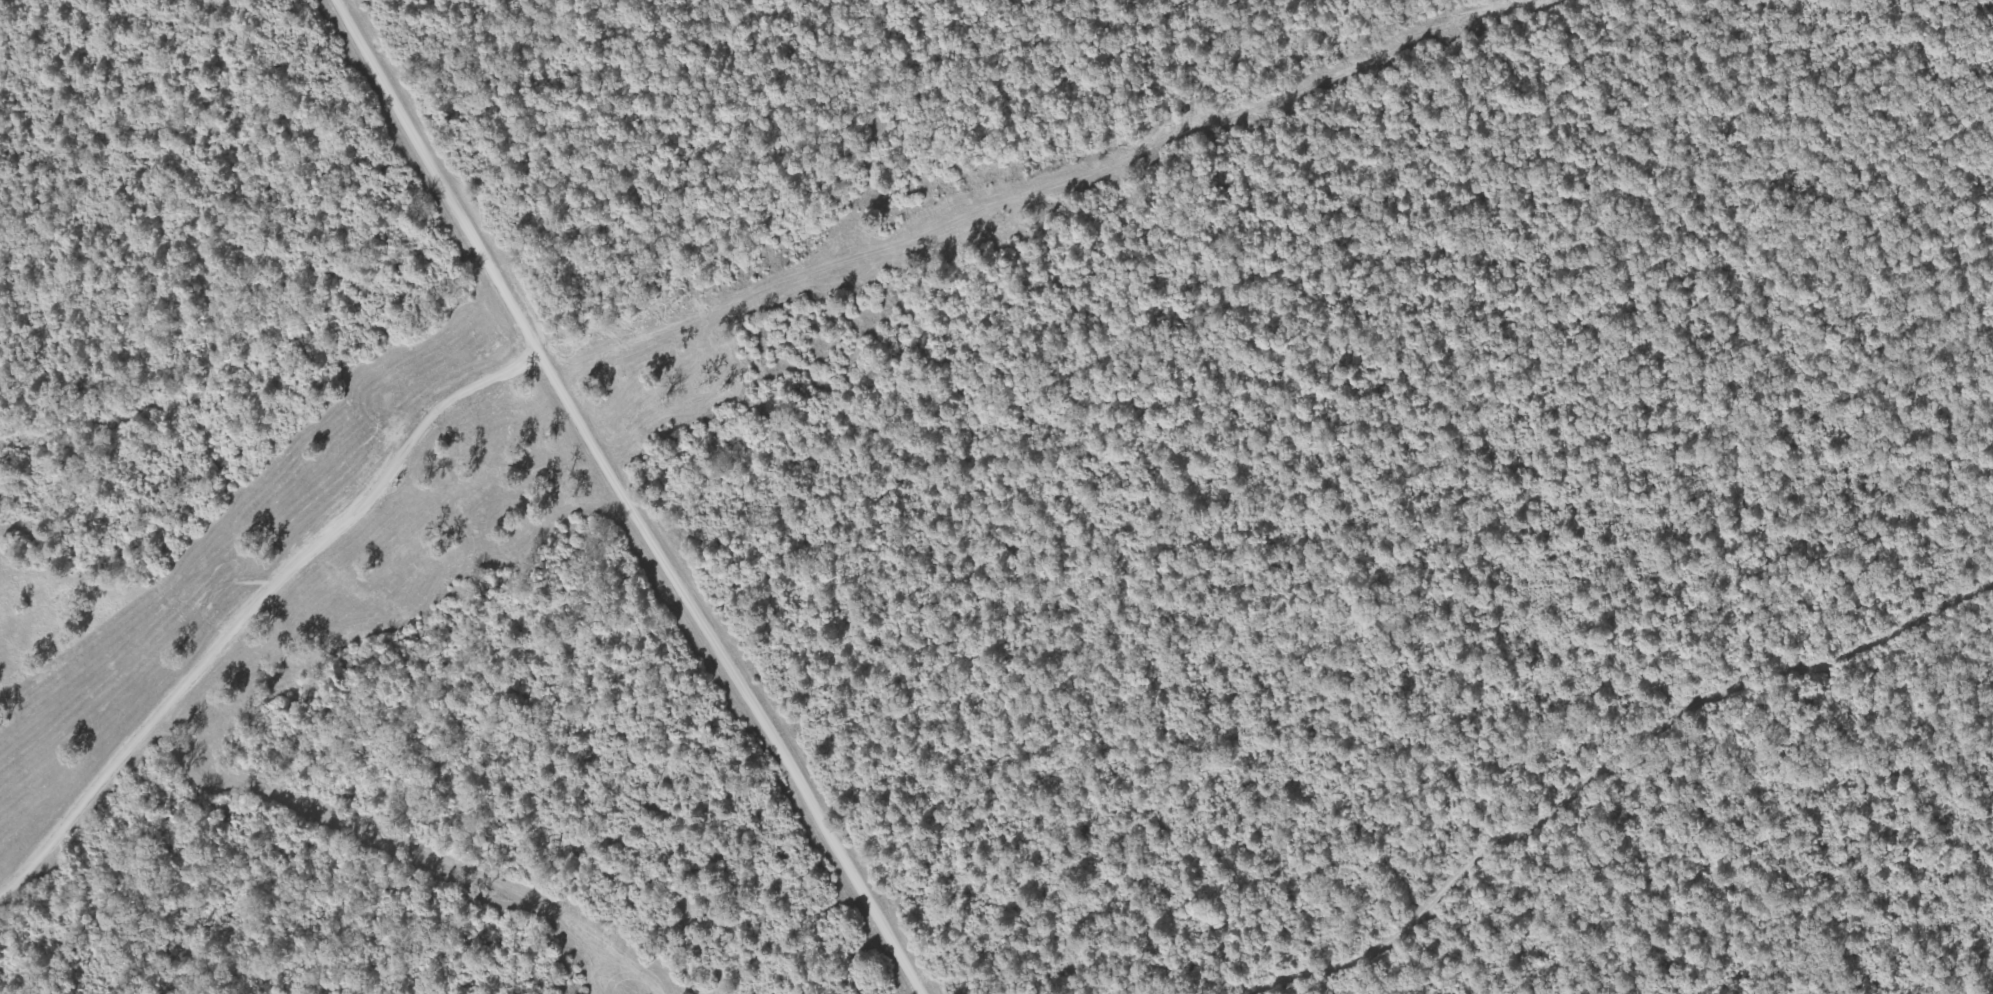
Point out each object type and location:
road: (624, 497)
road: (255, 589)

